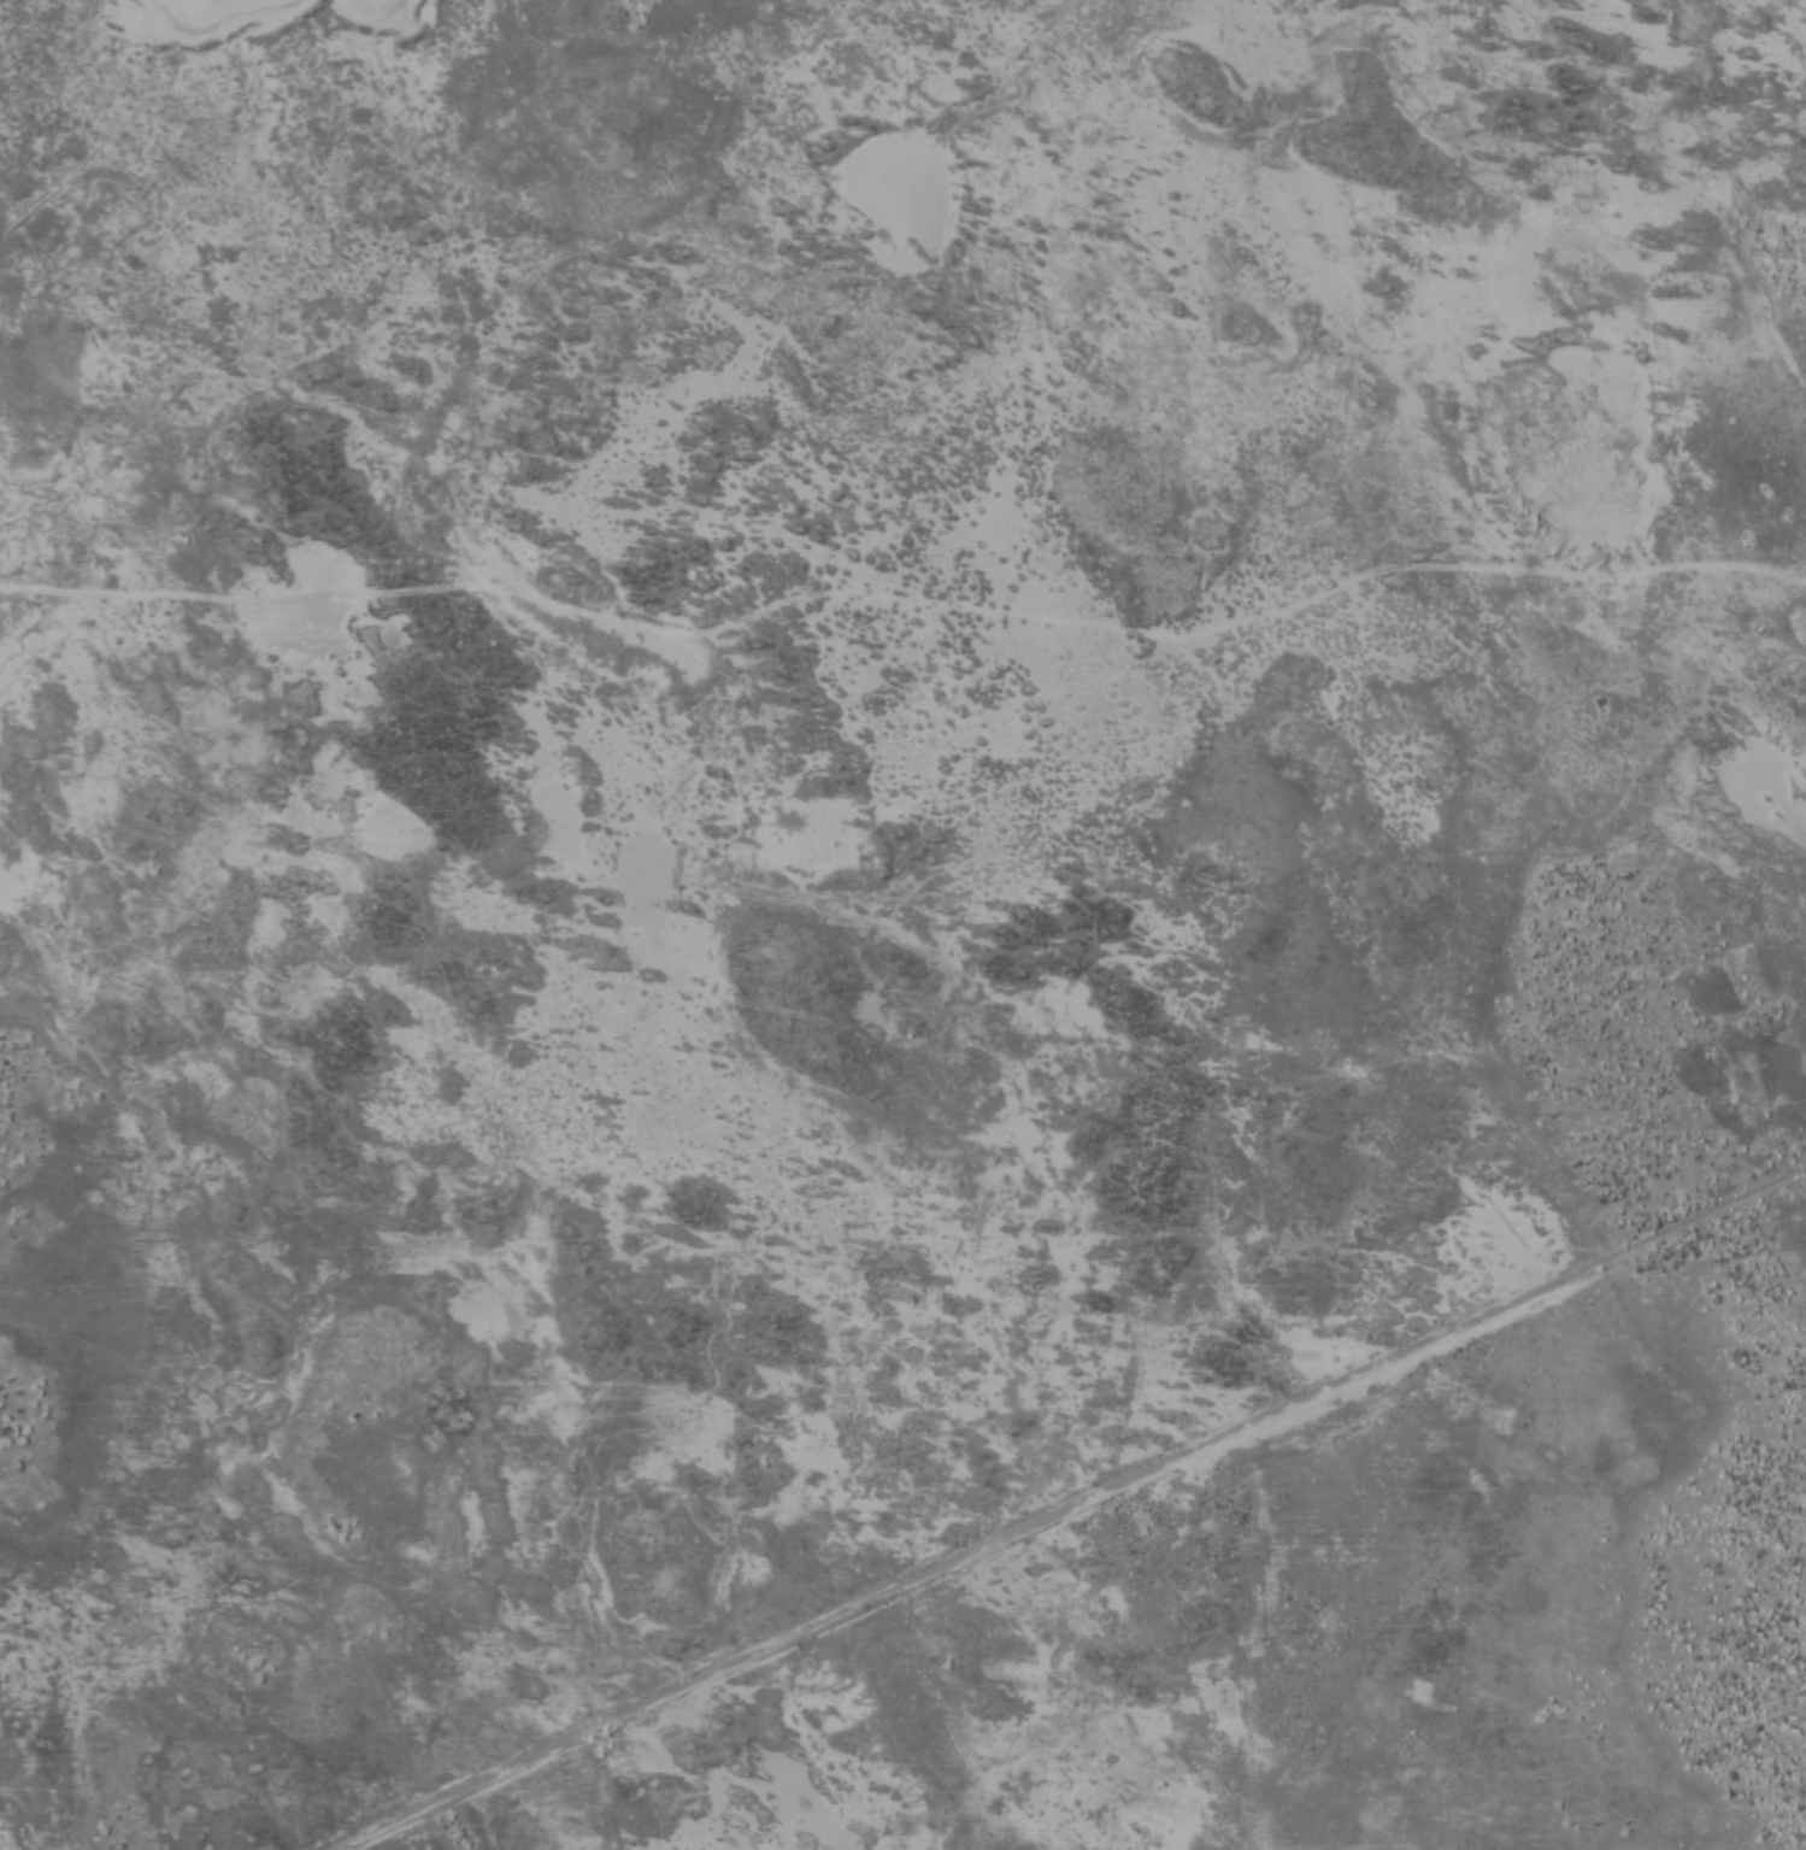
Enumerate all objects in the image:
road: (1098, 1523)

